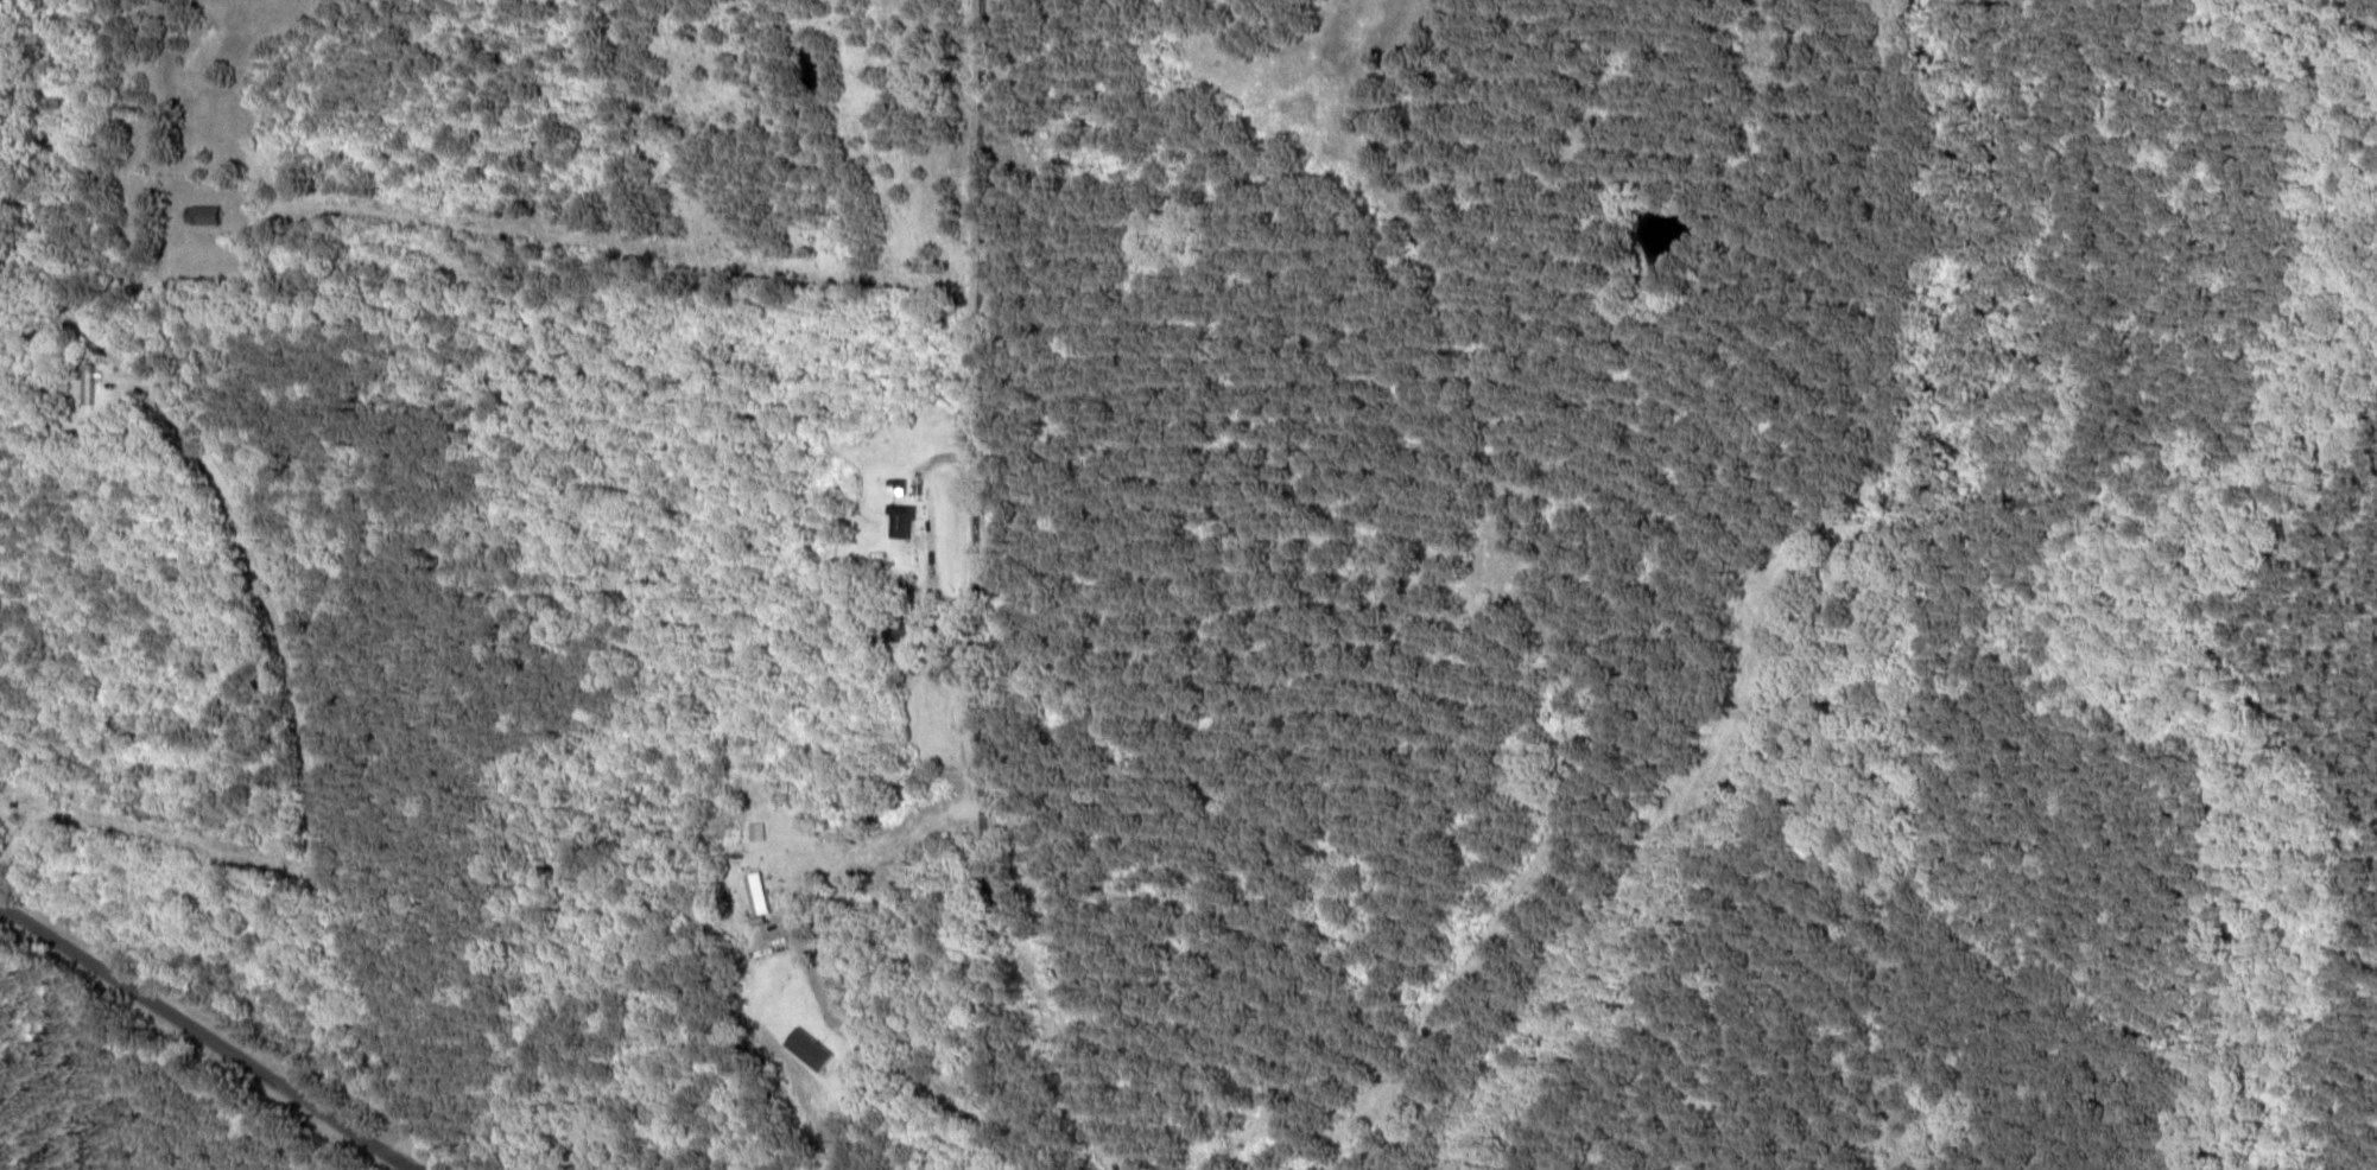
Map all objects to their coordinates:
building: (207, 215)
building: (89, 383)
building: (900, 484)
building: (901, 522)
road: (987, 585)
building: (896, 630)
road: (305, 758)
building: (18, 808)
road: (213, 1025)

